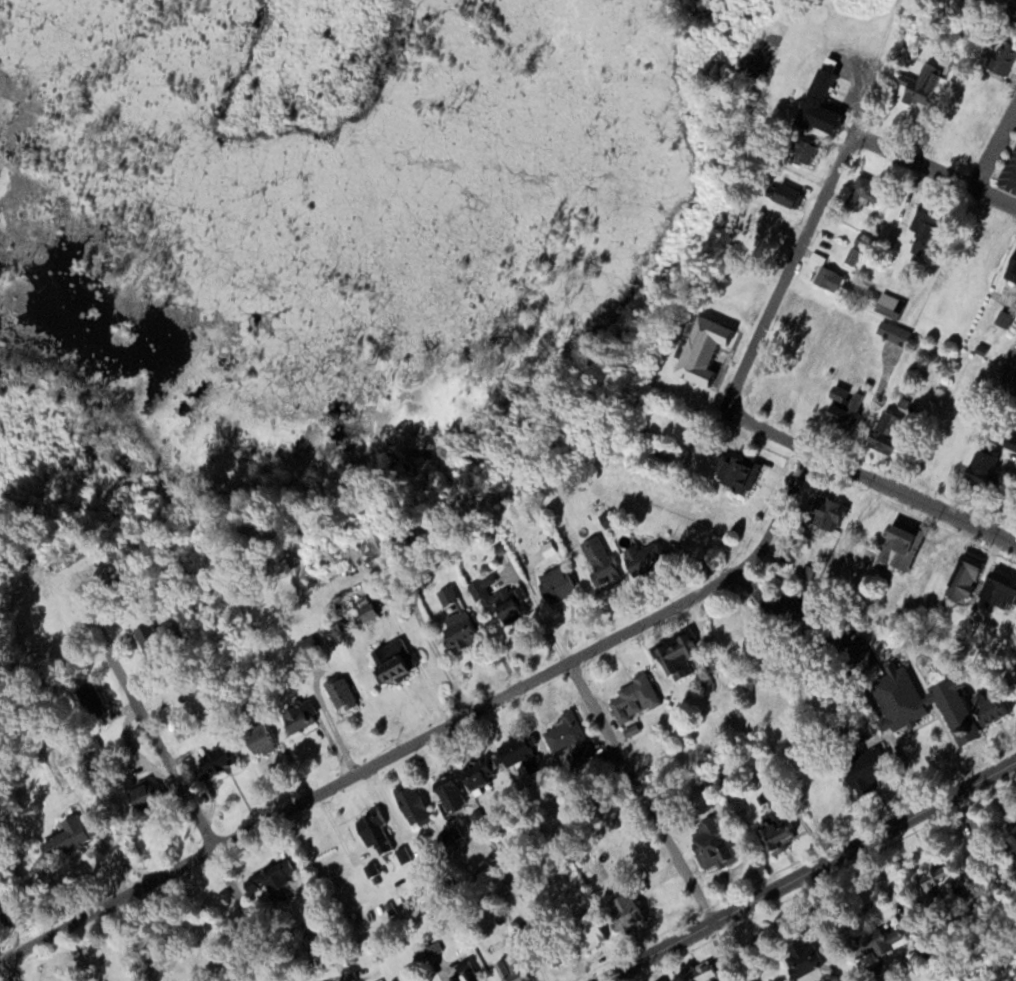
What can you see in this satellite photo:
building: (1008, 16)
building: (999, 56)
building: (918, 85)
building: (815, 100)
road: (995, 147)
building: (800, 151)
road: (934, 169)
building: (861, 194)
building: (783, 195)
road: (805, 236)
building: (826, 279)
building: (891, 331)
building: (699, 348)
building: (842, 406)
road: (768, 430)
building: (884, 432)
building: (1009, 441)
building: (978, 465)
building: (734, 472)
road: (914, 496)
road: (1003, 505)
building: (822, 513)
building: (896, 545)
building: (639, 558)
building: (596, 560)
building: (552, 584)
building: (998, 589)
building: (494, 597)
building: (364, 612)
building: (455, 629)
building: (724, 633)
building: (675, 653)
building: (386, 666)
building: (348, 695)
building: (96, 696)
building: (895, 697)
building: (631, 698)
building: (986, 706)
building: (950, 710)
building: (302, 718)
road: (431, 733)
building: (567, 736)
building: (267, 742)
building: (516, 756)
building: (222, 762)
building: (863, 770)
building: (473, 775)
building: (444, 789)
road: (641, 790)
building: (152, 791)
building: (407, 803)
road: (201, 825)
building: (371, 830)
building: (772, 833)
building: (1009, 834)
building: (709, 845)
road: (806, 869)
building: (280, 879)
building: (940, 882)
building: (621, 911)
building: (8, 914)
building: (582, 932)
building: (866, 947)
road: (4, 951)
building: (554, 955)
building: (805, 961)
road: (14, 970)
building: (701, 971)
building: (460, 975)

